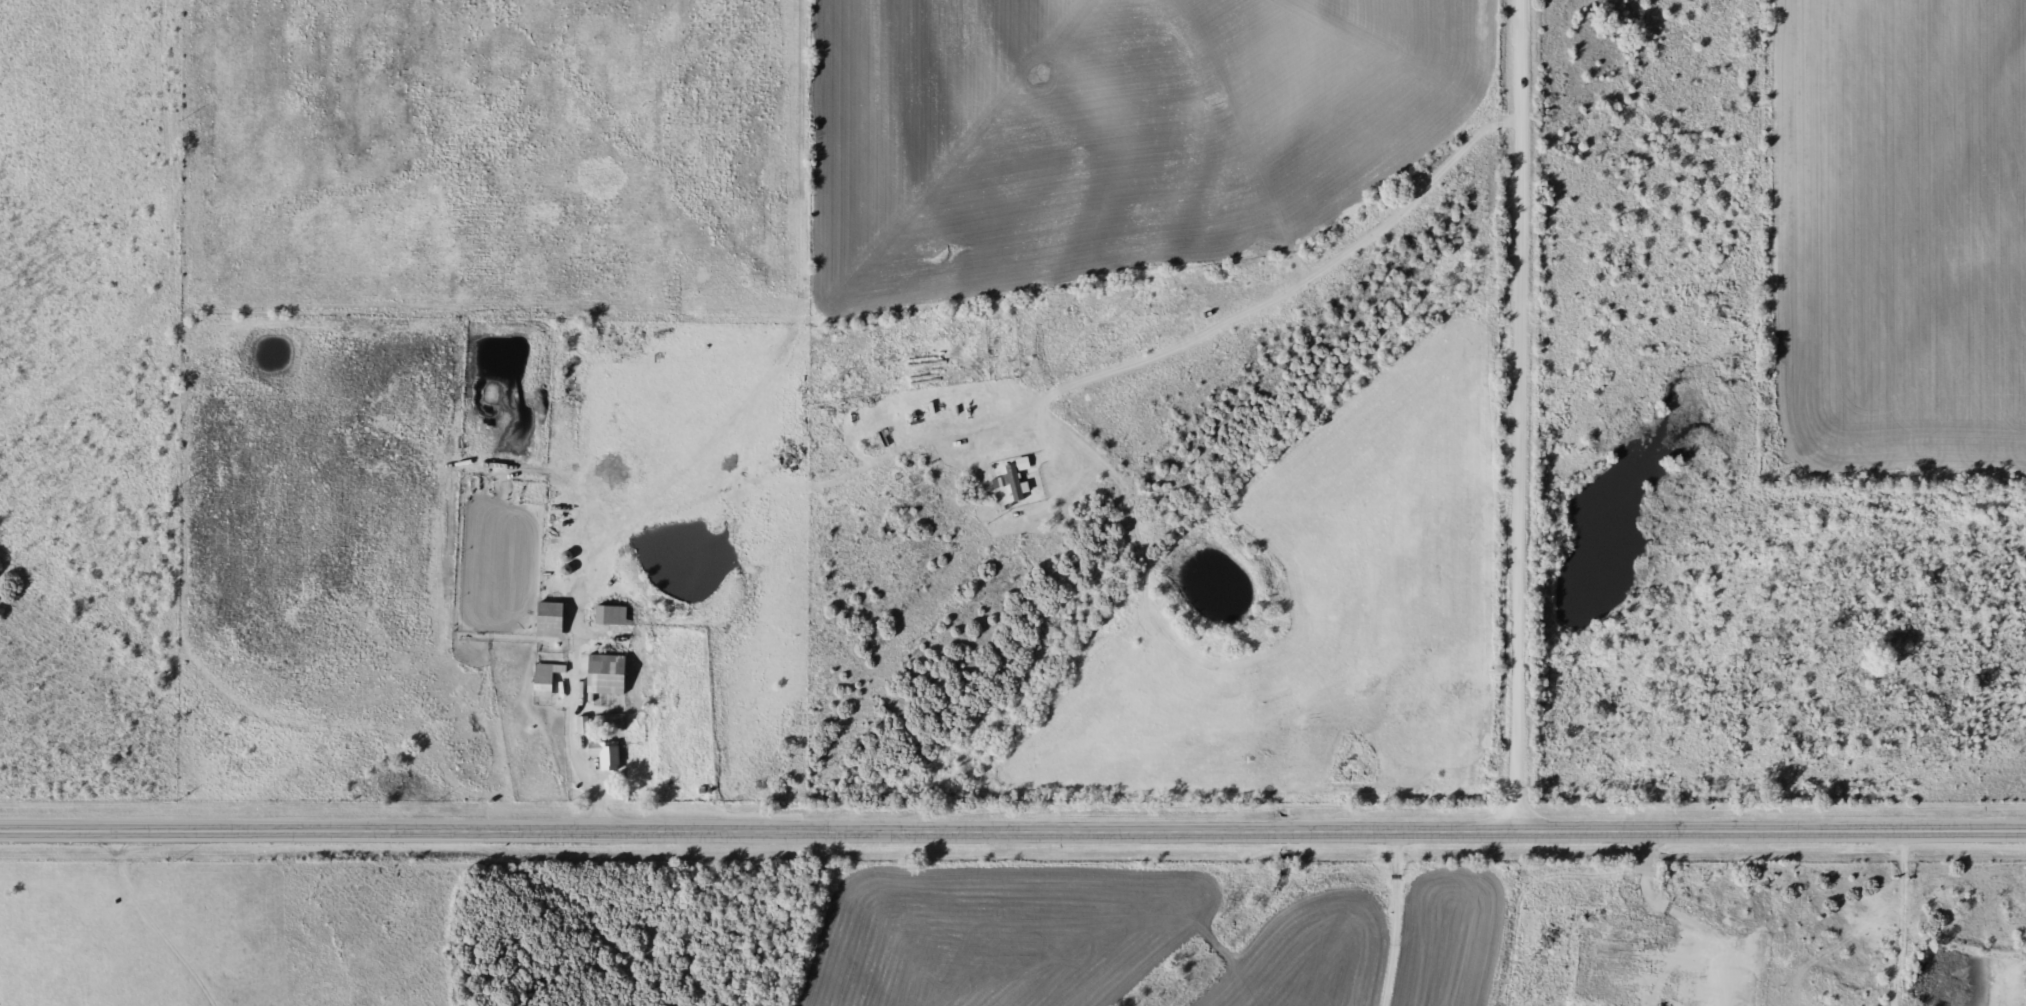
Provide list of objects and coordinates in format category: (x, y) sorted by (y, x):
road: (1518, 416)
road: (577, 518)
building: (609, 615)
building: (548, 620)
building: (605, 675)
building: (543, 679)
road: (569, 696)
building: (581, 726)
building: (604, 755)
road: (1013, 832)
road: (13, 914)
road: (736, 919)
road: (1203, 919)
road: (1097, 1001)

